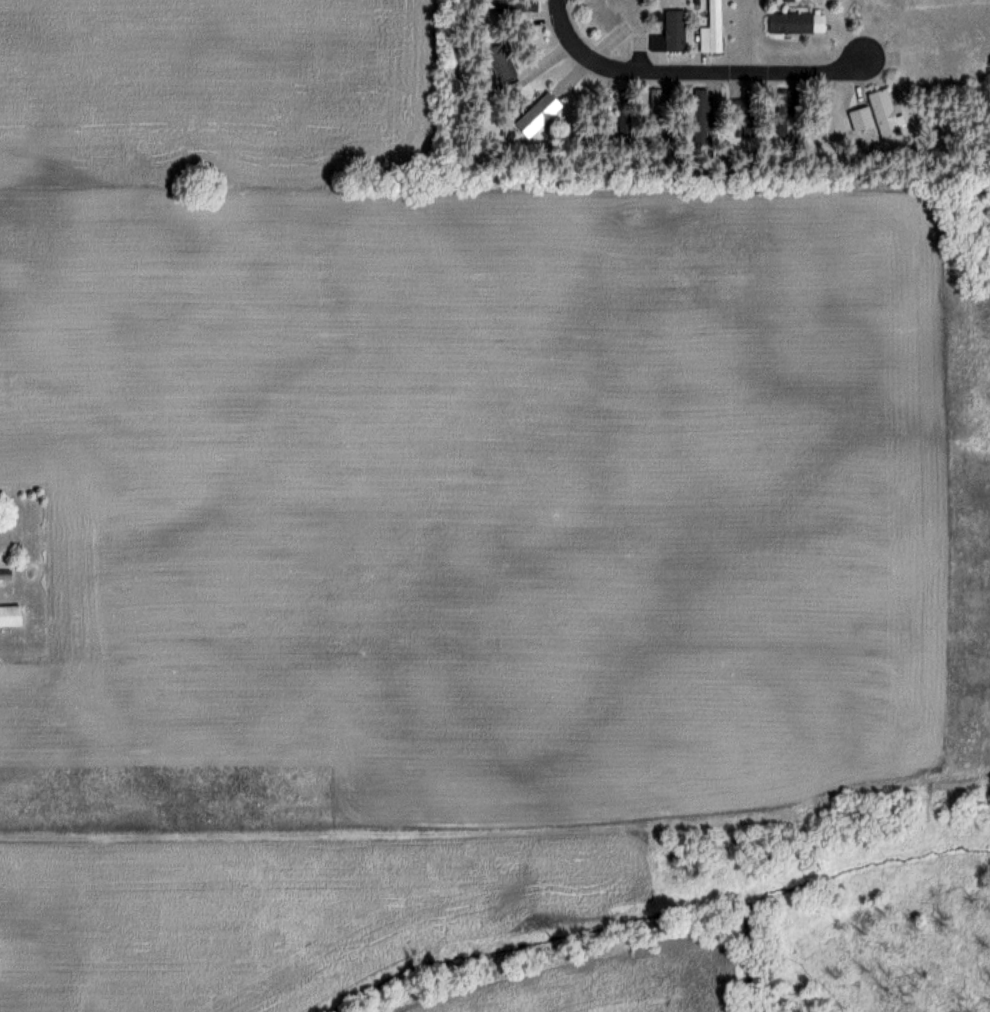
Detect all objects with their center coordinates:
building: (509, 5)
building: (604, 13)
building: (793, 21)
building: (711, 28)
building: (669, 31)
building: (500, 60)
road: (694, 67)
building: (655, 94)
building: (837, 111)
building: (881, 111)
building: (537, 112)
building: (743, 113)
building: (699, 115)
building: (863, 118)
building: (780, 119)
building: (654, 125)
building: (9, 614)

